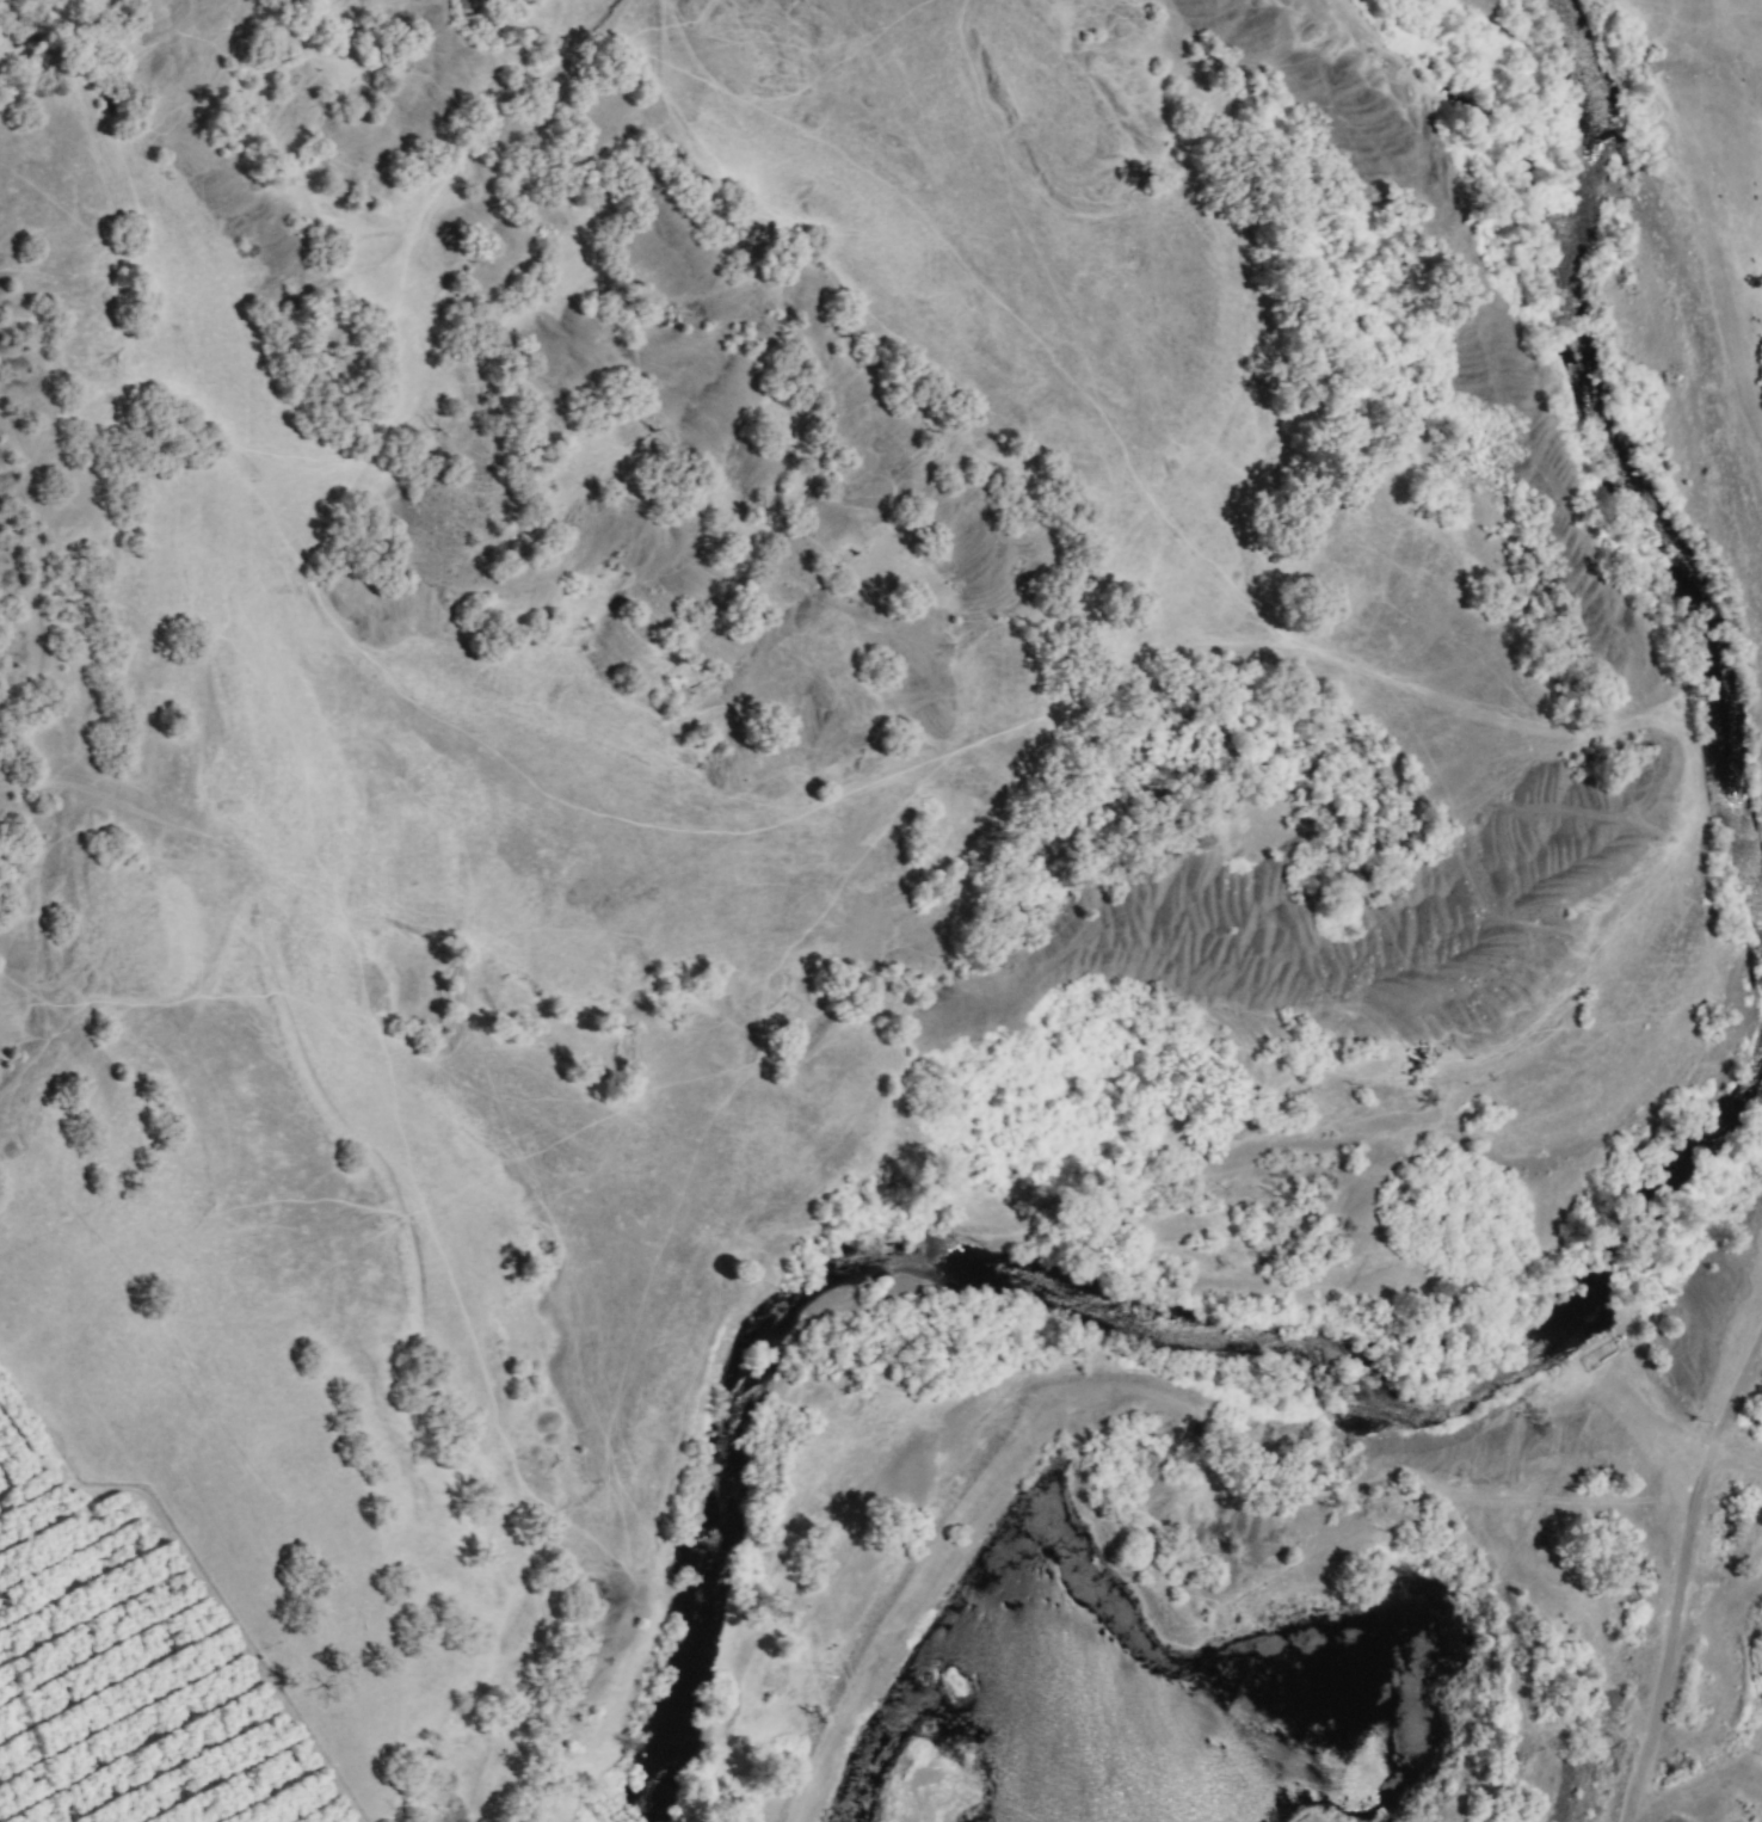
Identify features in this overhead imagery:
river: (1579, 1254)
crop: (125, 1657)
crop: (1717, 1683)
crop: (1359, 1820)

